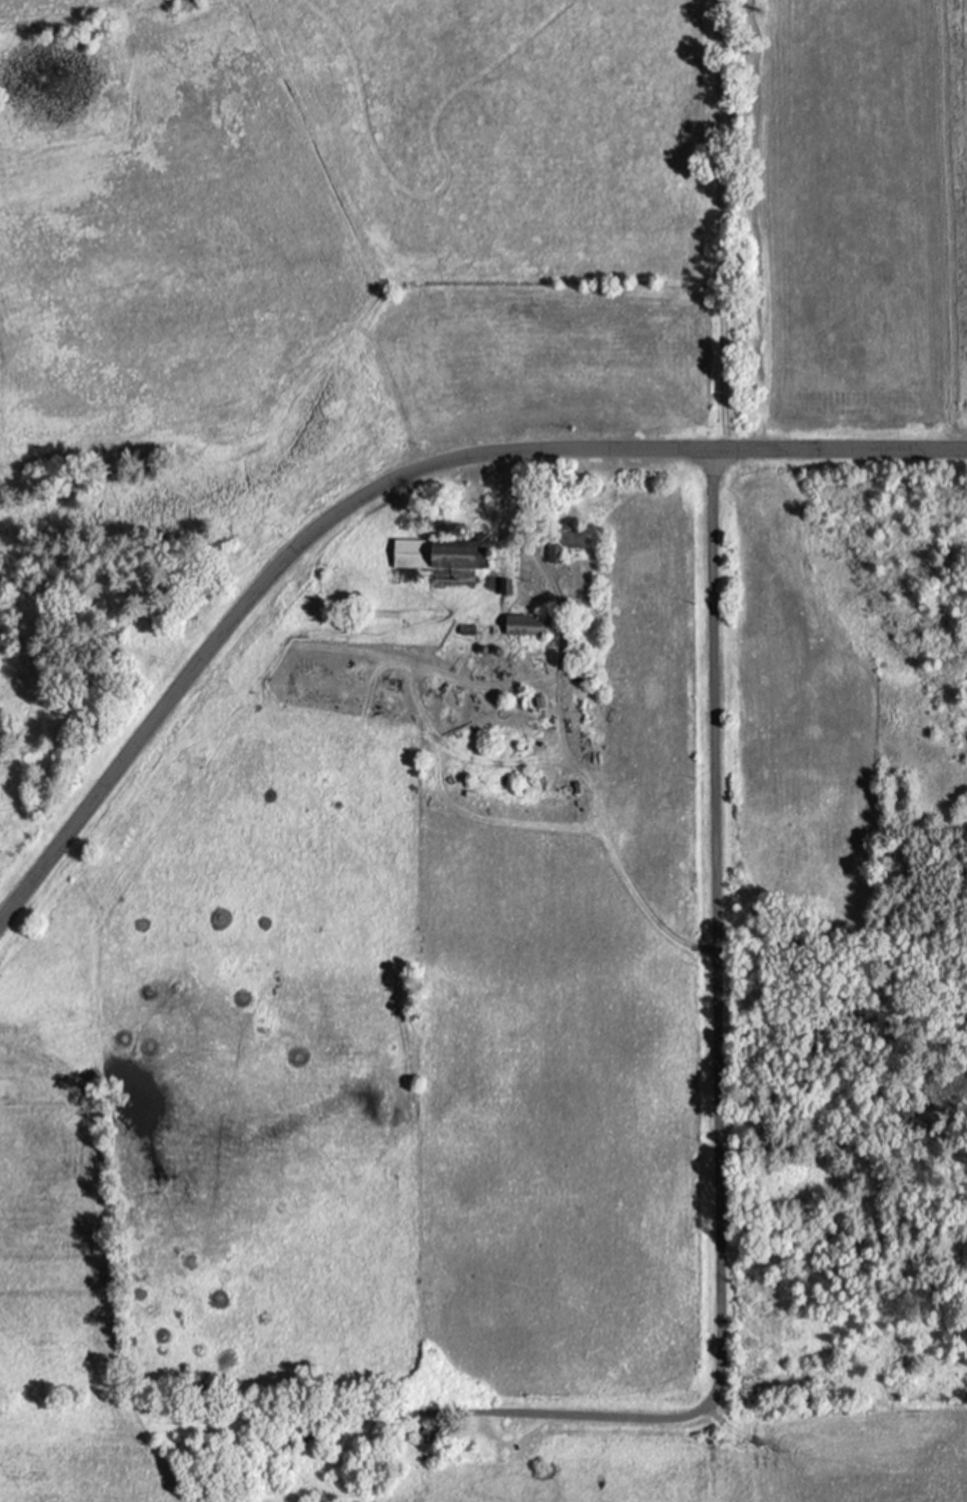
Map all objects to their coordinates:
road: (386, 485)
building: (563, 541)
building: (440, 553)
building: (527, 624)
road: (562, 727)
road: (718, 929)
road: (532, 1407)
building: (415, 1430)

